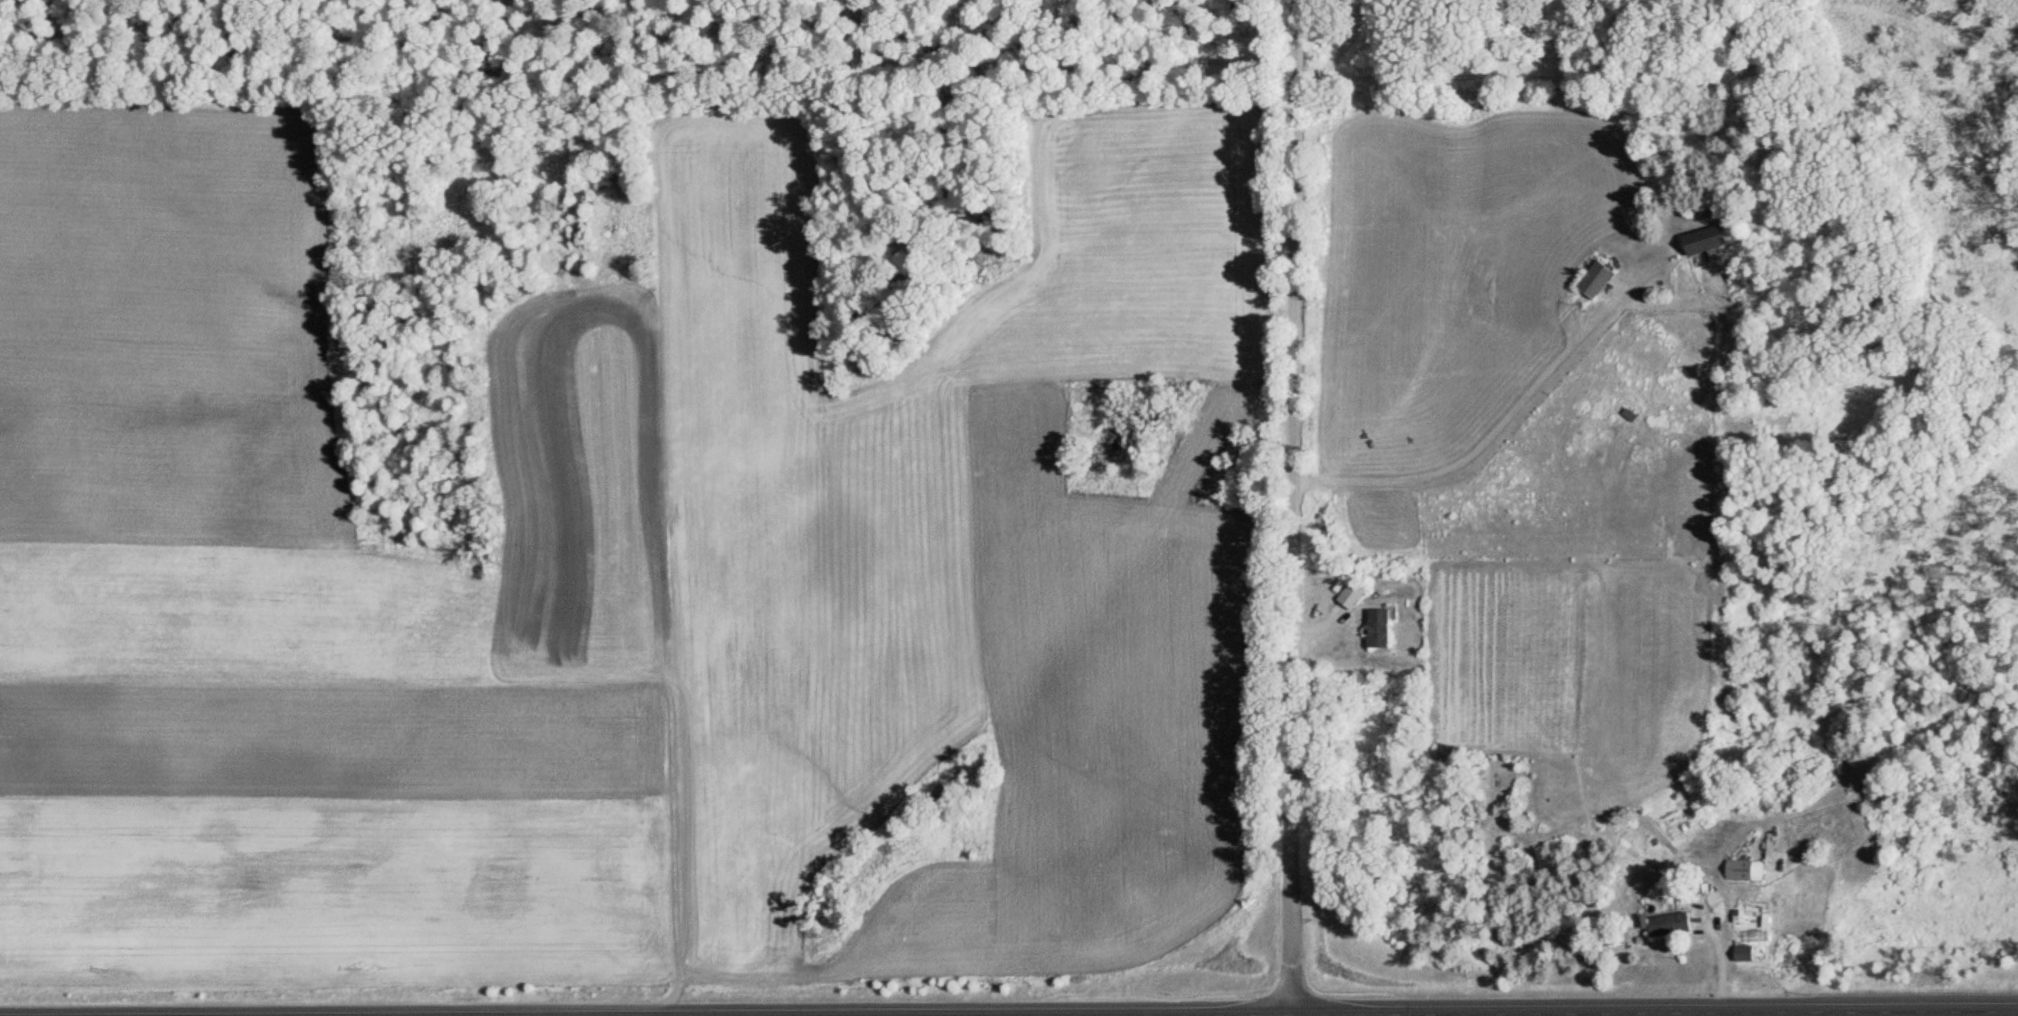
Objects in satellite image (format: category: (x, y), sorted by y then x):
building: (1698, 241)
building: (1589, 280)
road: (1287, 507)
building: (1374, 627)
building: (1734, 869)
building: (1663, 923)
road: (1498, 1011)

